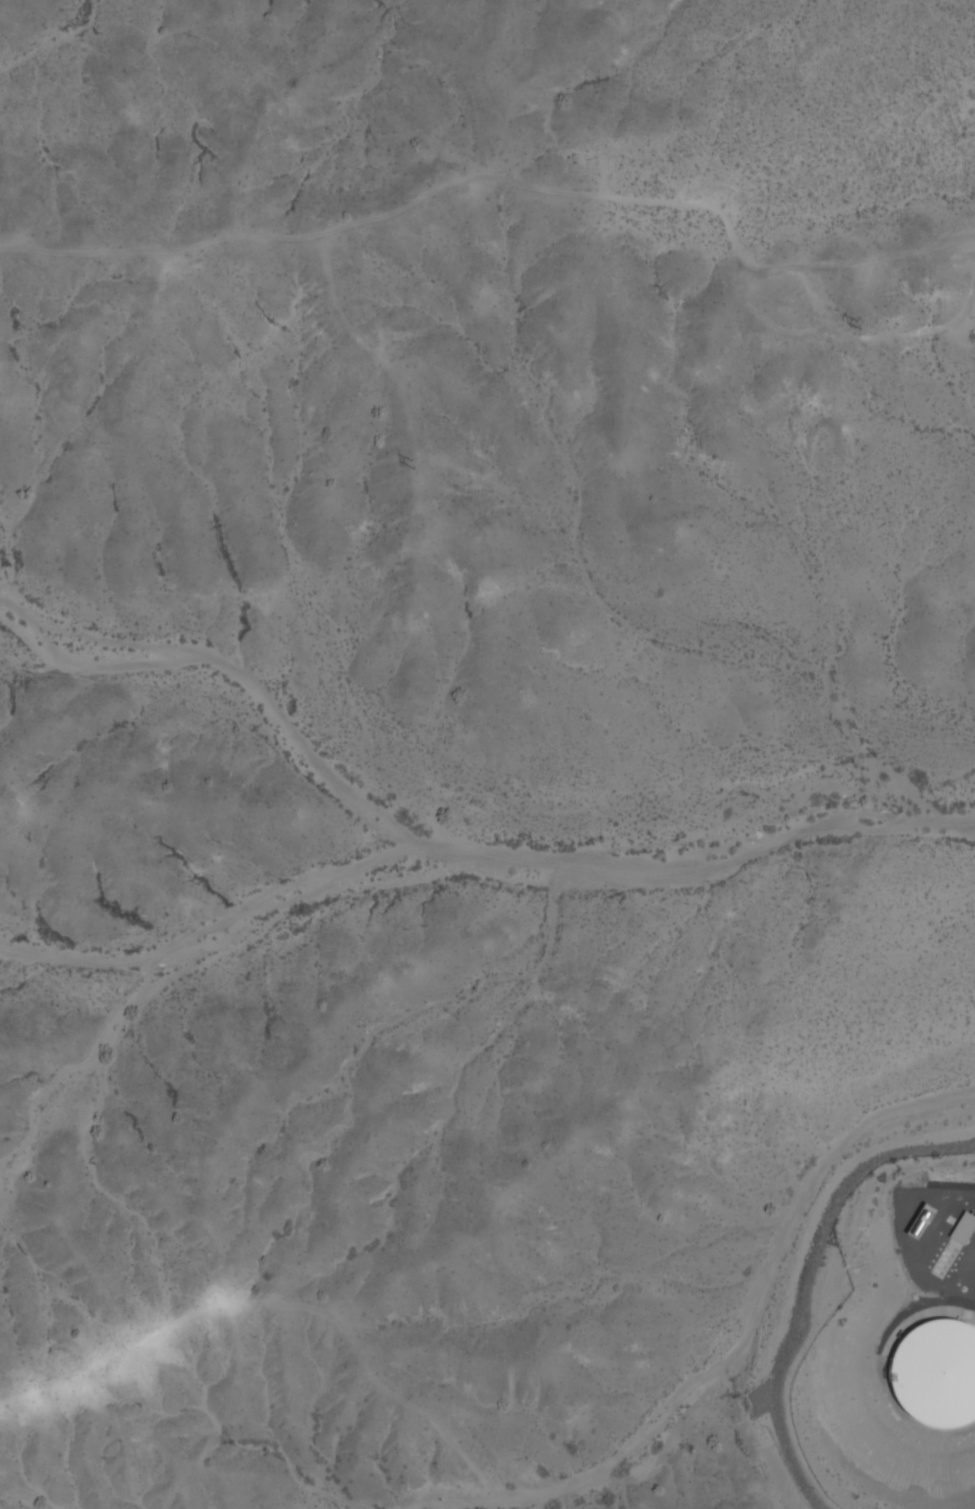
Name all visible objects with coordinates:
power tower: (860, 323)
power tower: (413, 463)
road: (816, 1194)
building: (916, 1219)
building: (961, 1225)
building: (938, 1372)
storage tank: (938, 1372)

